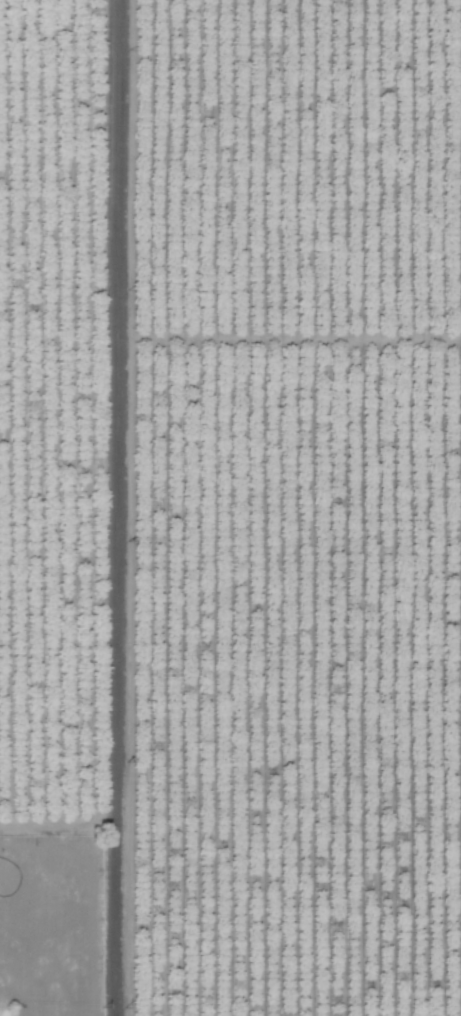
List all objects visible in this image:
road: (123, 508)

